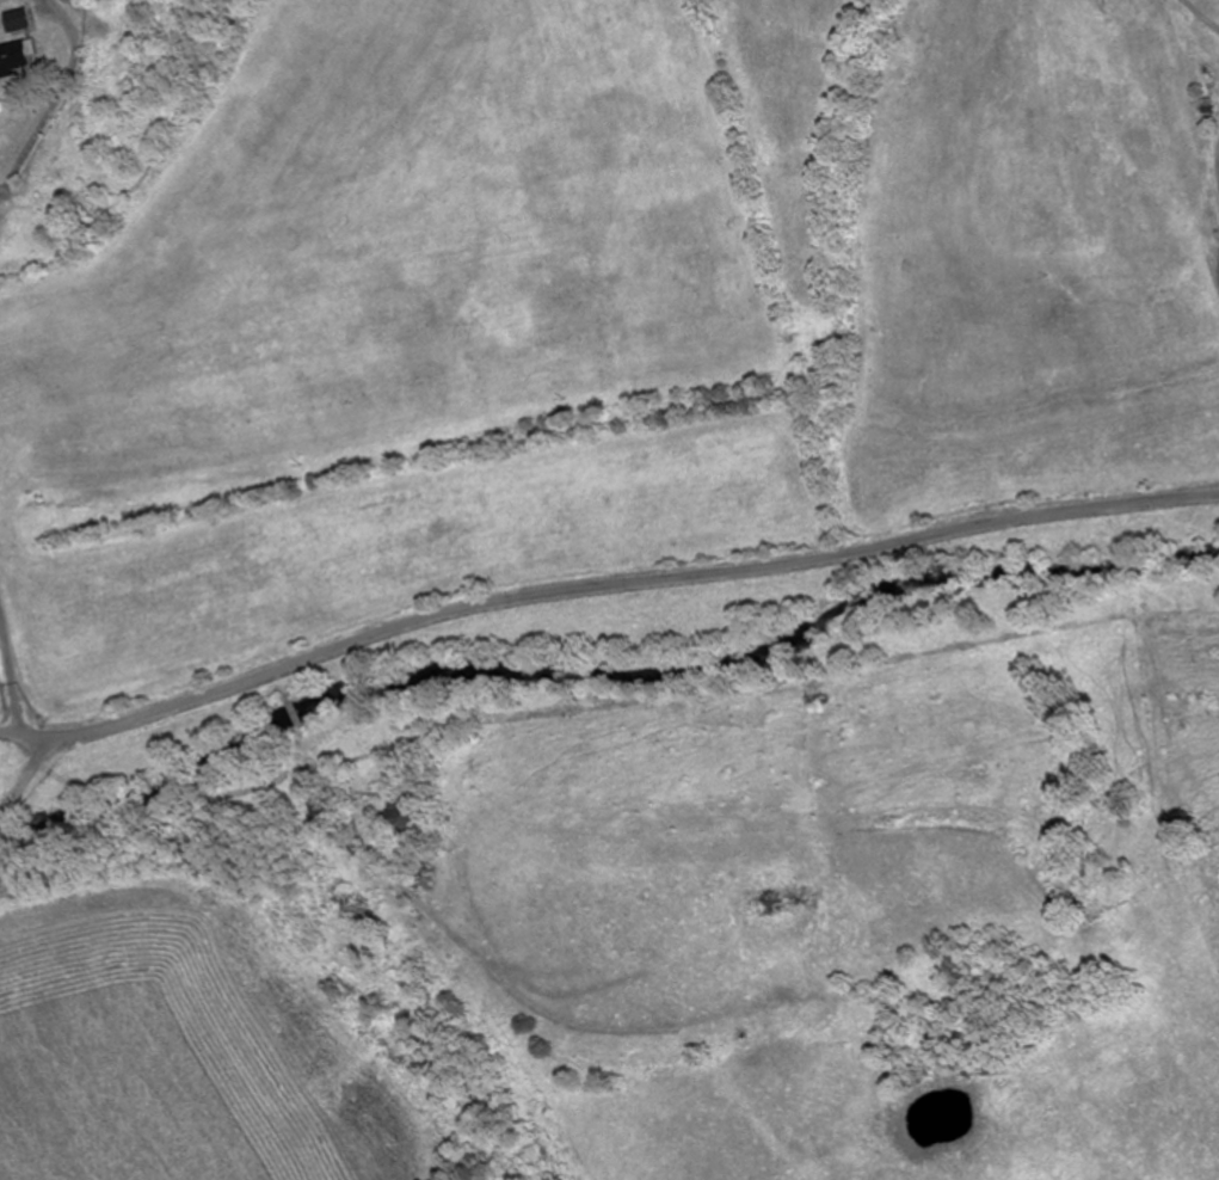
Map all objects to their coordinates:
road: (1218, 1)
building: (18, 20)
building: (14, 59)
road: (8, 356)
road: (602, 585)
building: (325, 810)
building: (410, 818)
road: (68, 829)

